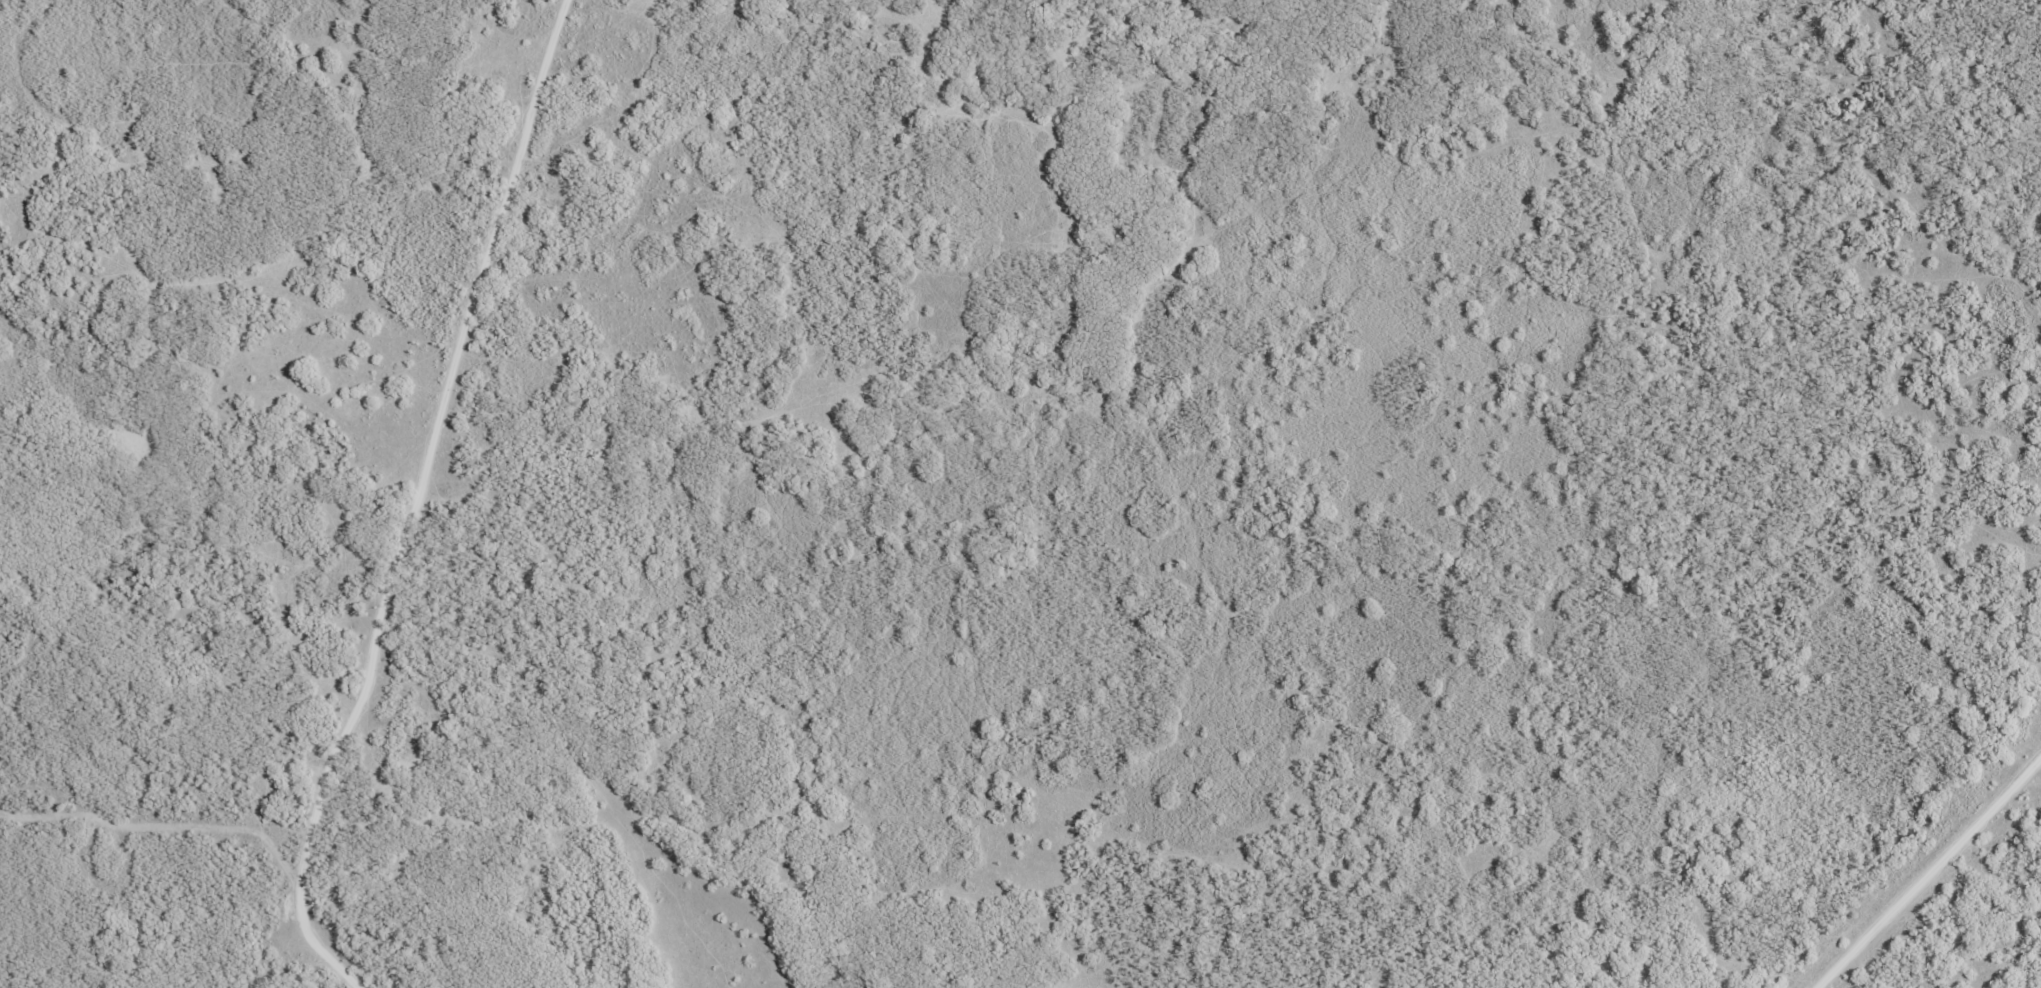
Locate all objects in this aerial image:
road: (1929, 876)

